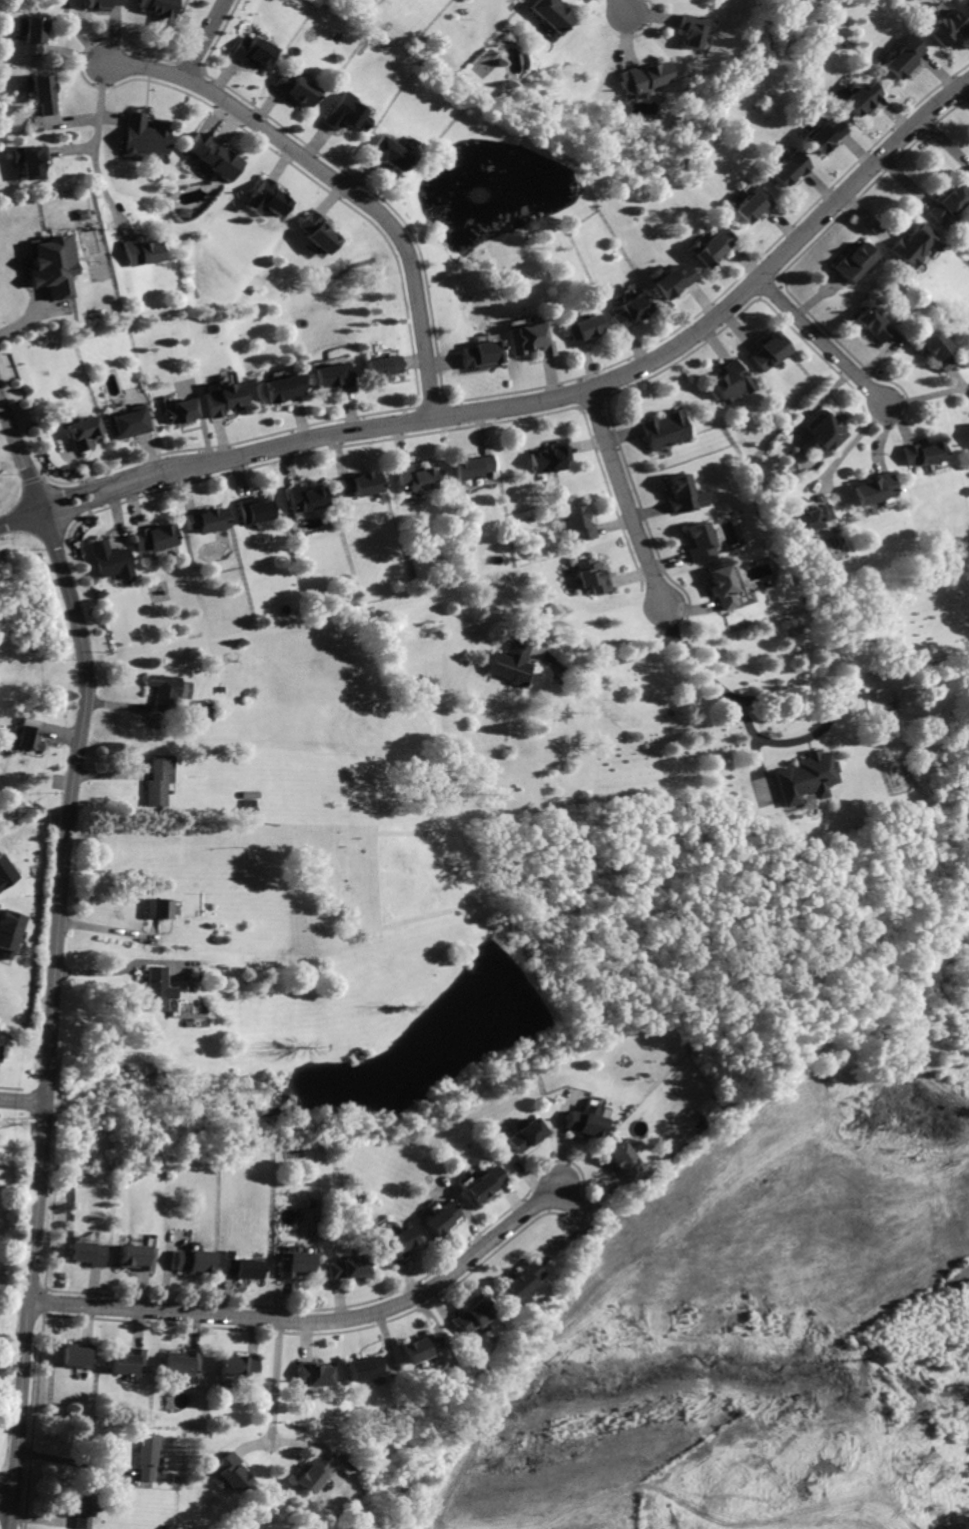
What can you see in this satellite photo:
building: (968, 0)
building: (103, 4)
road: (622, 7)
building: (159, 12)
building: (550, 15)
building: (945, 27)
building: (688, 33)
road: (81, 35)
building: (33, 37)
road: (204, 39)
building: (251, 51)
building: (900, 58)
building: (641, 78)
building: (294, 88)
building: (43, 93)
building: (858, 100)
road: (101, 107)
building: (344, 112)
road: (112, 119)
road: (70, 122)
building: (143, 135)
building: (824, 135)
road: (70, 151)
building: (388, 151)
building: (212, 155)
building: (29, 159)
building: (788, 169)
building: (968, 176)
road: (338, 185)
road: (107, 194)
building: (270, 197)
building: (945, 202)
building: (752, 206)
building: (183, 211)
building: (317, 232)
building: (912, 245)
building: (712, 247)
building: (138, 251)
building: (855, 262)
building: (48, 264)
building: (673, 281)
building: (629, 312)
road: (34, 317)
building: (872, 324)
building: (580, 330)
building: (527, 338)
road: (822, 342)
building: (935, 350)
building: (771, 351)
building: (478, 353)
building: (378, 367)
building: (329, 376)
road: (955, 378)
building: (733, 380)
building: (280, 388)
road: (583, 390)
road: (966, 393)
road: (926, 396)
building: (220, 398)
building: (177, 411)
road: (813, 412)
road: (900, 422)
building: (123, 423)
building: (666, 429)
building: (828, 432)
building: (78, 434)
road: (880, 438)
road: (844, 452)
building: (922, 453)
building: (549, 459)
building: (473, 465)
building: (412, 478)
building: (357, 484)
building: (874, 487)
road: (64, 493)
building: (681, 493)
building: (305, 498)
road: (627, 498)
road: (71, 509)
building: (255, 510)
building: (811, 517)
road: (20, 519)
building: (205, 520)
building: (580, 523)
building: (152, 539)
building: (700, 542)
building: (107, 559)
building: (592, 576)
building: (722, 586)
road: (569, 626)
building: (511, 662)
road: (610, 662)
building: (162, 691)
road: (729, 697)
road: (834, 702)
building: (29, 739)
building: (160, 775)
building: (805, 778)
building: (247, 805)
building: (4, 873)
building: (161, 908)
building: (8, 931)
building: (18, 941)
road: (58, 958)
building: (156, 990)
building: (1, 1051)
building: (153, 1071)
road: (23, 1102)
building: (703, 1108)
building: (582, 1122)
building: (522, 1136)
building: (625, 1163)
building: (486, 1185)
building: (440, 1219)
road: (565, 1242)
building: (396, 1244)
building: (87, 1254)
building: (135, 1257)
building: (191, 1261)
building: (291, 1265)
building: (239, 1268)
building: (347, 1268)
building: (528, 1280)
building: (477, 1316)
road: (337, 1321)
building: (423, 1347)
building: (80, 1356)
building: (130, 1362)
building: (185, 1364)
building: (239, 1367)
building: (365, 1369)
building: (316, 1377)
road: (275, 1381)
road: (609, 1422)
road: (252, 1442)
road: (305, 1443)
building: (149, 1456)
road: (79, 1462)
building: (229, 1472)
building: (313, 1474)
road: (7, 1502)
road: (616, 1508)
building: (85, 1511)
road: (775, 1517)
road: (45, 1519)

